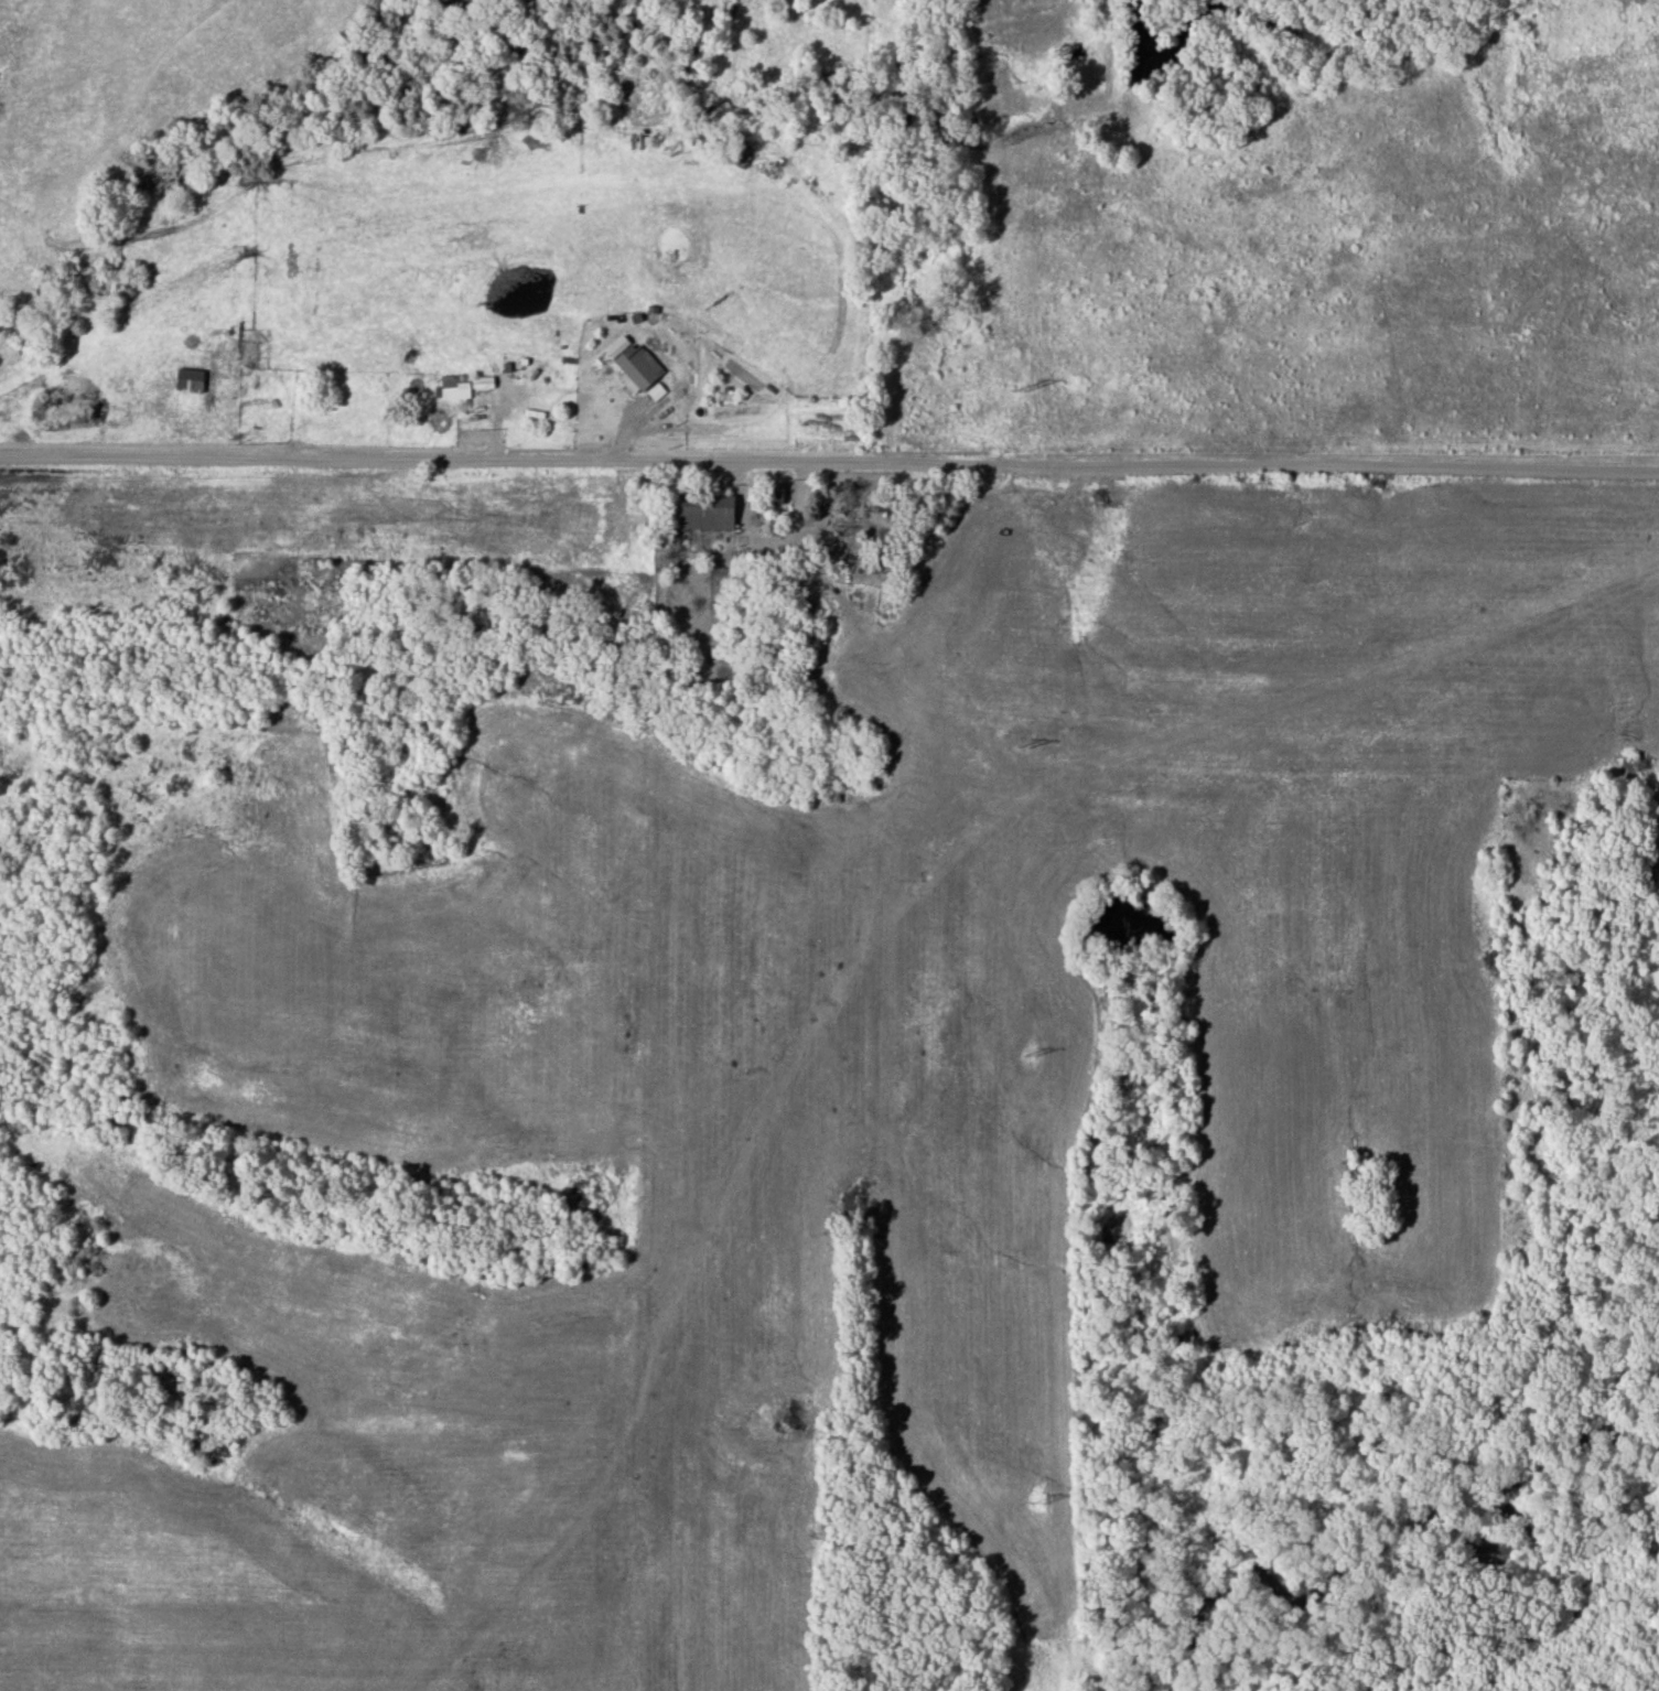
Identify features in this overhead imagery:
building: (454, 366)
building: (637, 369)
building: (546, 374)
building: (191, 380)
building: (483, 384)
power tower: (1016, 391)
road: (829, 462)
building: (707, 511)
power tower: (1033, 1055)
power tower: (1036, 1506)

